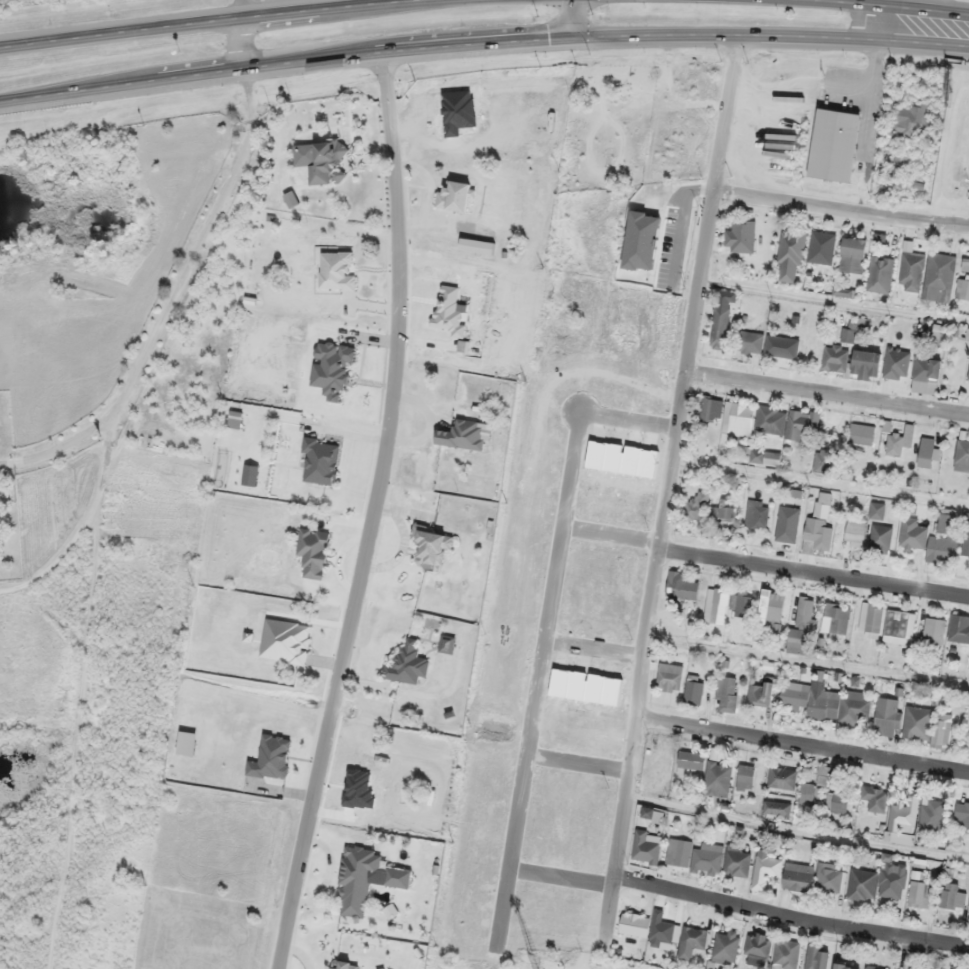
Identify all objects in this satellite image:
road: (896, 6)
road: (214, 17)
road: (862, 18)
road: (566, 21)
road: (241, 42)
traffic signals: (568, 42)
road: (483, 46)
building: (910, 120)
building: (833, 145)
building: (901, 160)
building: (326, 162)
building: (456, 196)
road: (842, 208)
building: (740, 237)
building: (821, 247)
building: (790, 255)
building: (852, 255)
building: (337, 270)
building: (911, 271)
building: (880, 274)
building: (939, 277)
building: (963, 289)
building: (721, 319)
building: (849, 333)
building: (938, 334)
building: (967, 334)
building: (749, 341)
building: (781, 346)
building: (832, 358)
building: (896, 363)
building: (865, 365)
building: (925, 375)
building: (968, 376)
road: (828, 398)
building: (710, 409)
building: (737, 419)
building: (785, 421)
building: (861, 433)
building: (461, 435)
building: (893, 443)
road: (674, 456)
building: (927, 456)
building: (961, 456)
building: (765, 457)
building: (320, 460)
building: (822, 461)
building: (695, 506)
building: (722, 510)
building: (877, 510)
road: (368, 513)
building: (756, 514)
building: (946, 521)
building: (787, 524)
building: (855, 532)
building: (818, 534)
building: (880, 538)
building: (965, 540)
building: (927, 542)
building: (429, 547)
building: (313, 552)
road: (815, 569)
building: (680, 586)
building: (741, 602)
building: (715, 605)
building: (772, 605)
building: (836, 617)
building: (870, 620)
building: (899, 627)
building: (802, 628)
building: (958, 629)
building: (775, 630)
building: (933, 631)
building: (406, 664)
building: (669, 677)
building: (694, 689)
building: (726, 694)
building: (759, 694)
building: (824, 701)
building: (887, 716)
building: (917, 723)
building: (942, 730)
road: (804, 750)
building: (690, 761)
building: (717, 778)
building: (747, 778)
building: (782, 778)
building: (813, 788)
building: (874, 797)
building: (836, 803)
building: (776, 808)
building: (646, 812)
building: (961, 813)
building: (931, 815)
building: (903, 820)
road: (800, 826)
building: (644, 849)
building: (678, 852)
building: (706, 858)
building: (736, 861)
building: (765, 870)
building: (892, 873)
building: (357, 875)
building: (396, 877)
building: (797, 877)
building: (828, 878)
building: (862, 885)
building: (919, 894)
building: (951, 897)
road: (792, 914)
building: (634, 924)
building: (660, 930)
building: (691, 941)
building: (725, 946)
building: (757, 948)
building: (786, 954)
building: (816, 957)
building: (344, 964)
building: (845, 966)
building: (871, 967)

